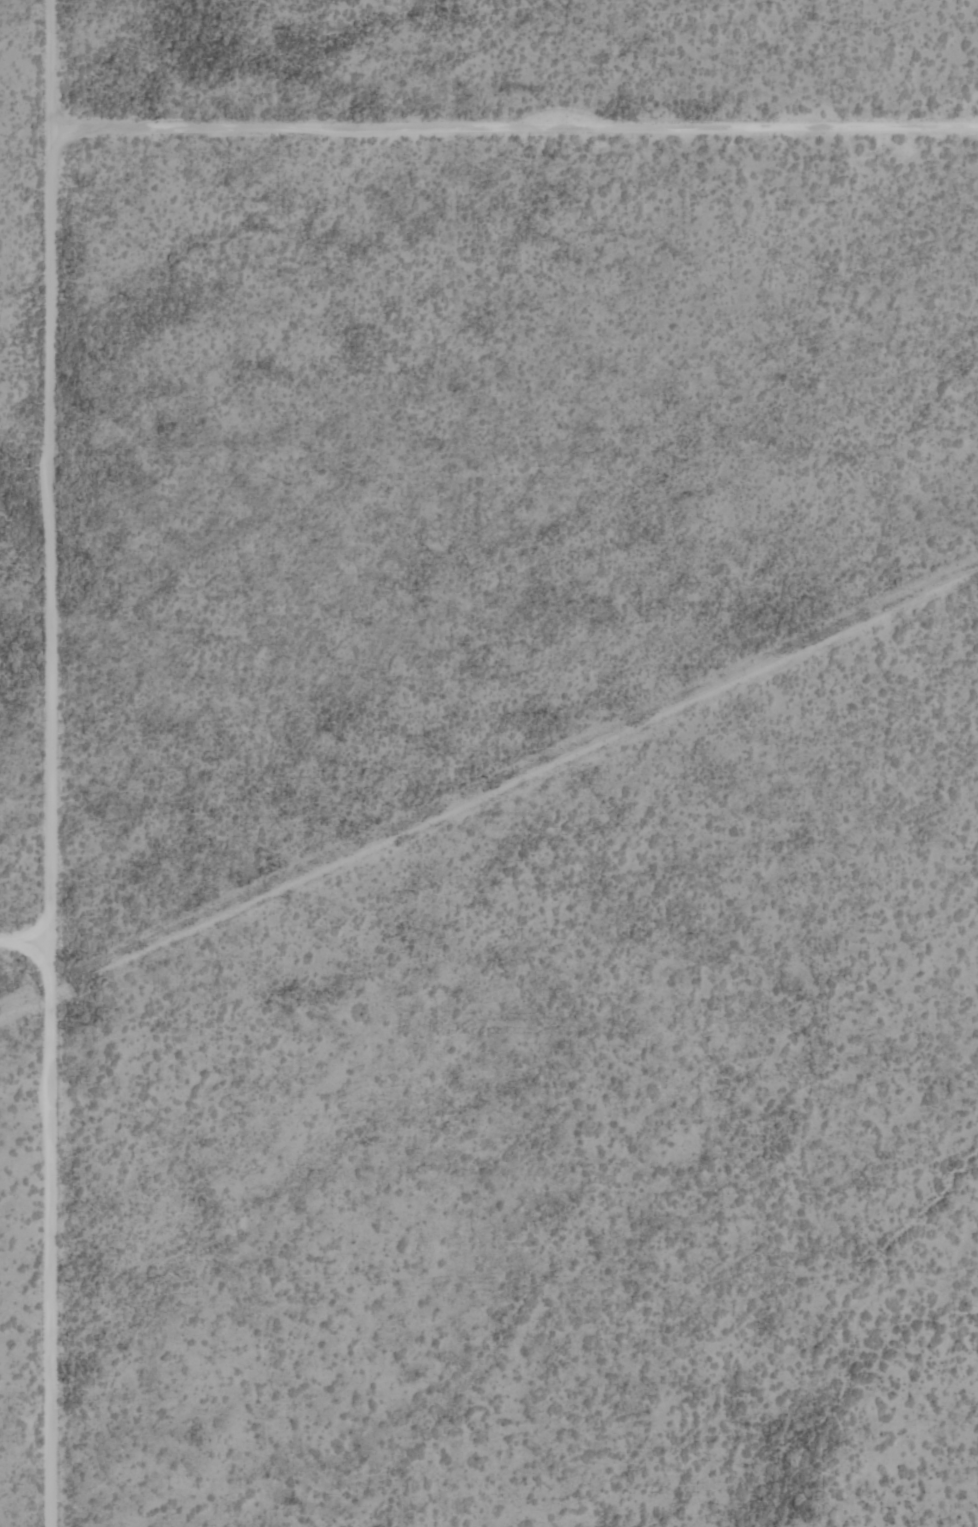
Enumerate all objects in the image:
road: (515, 127)
road: (51, 763)
road: (25, 941)

